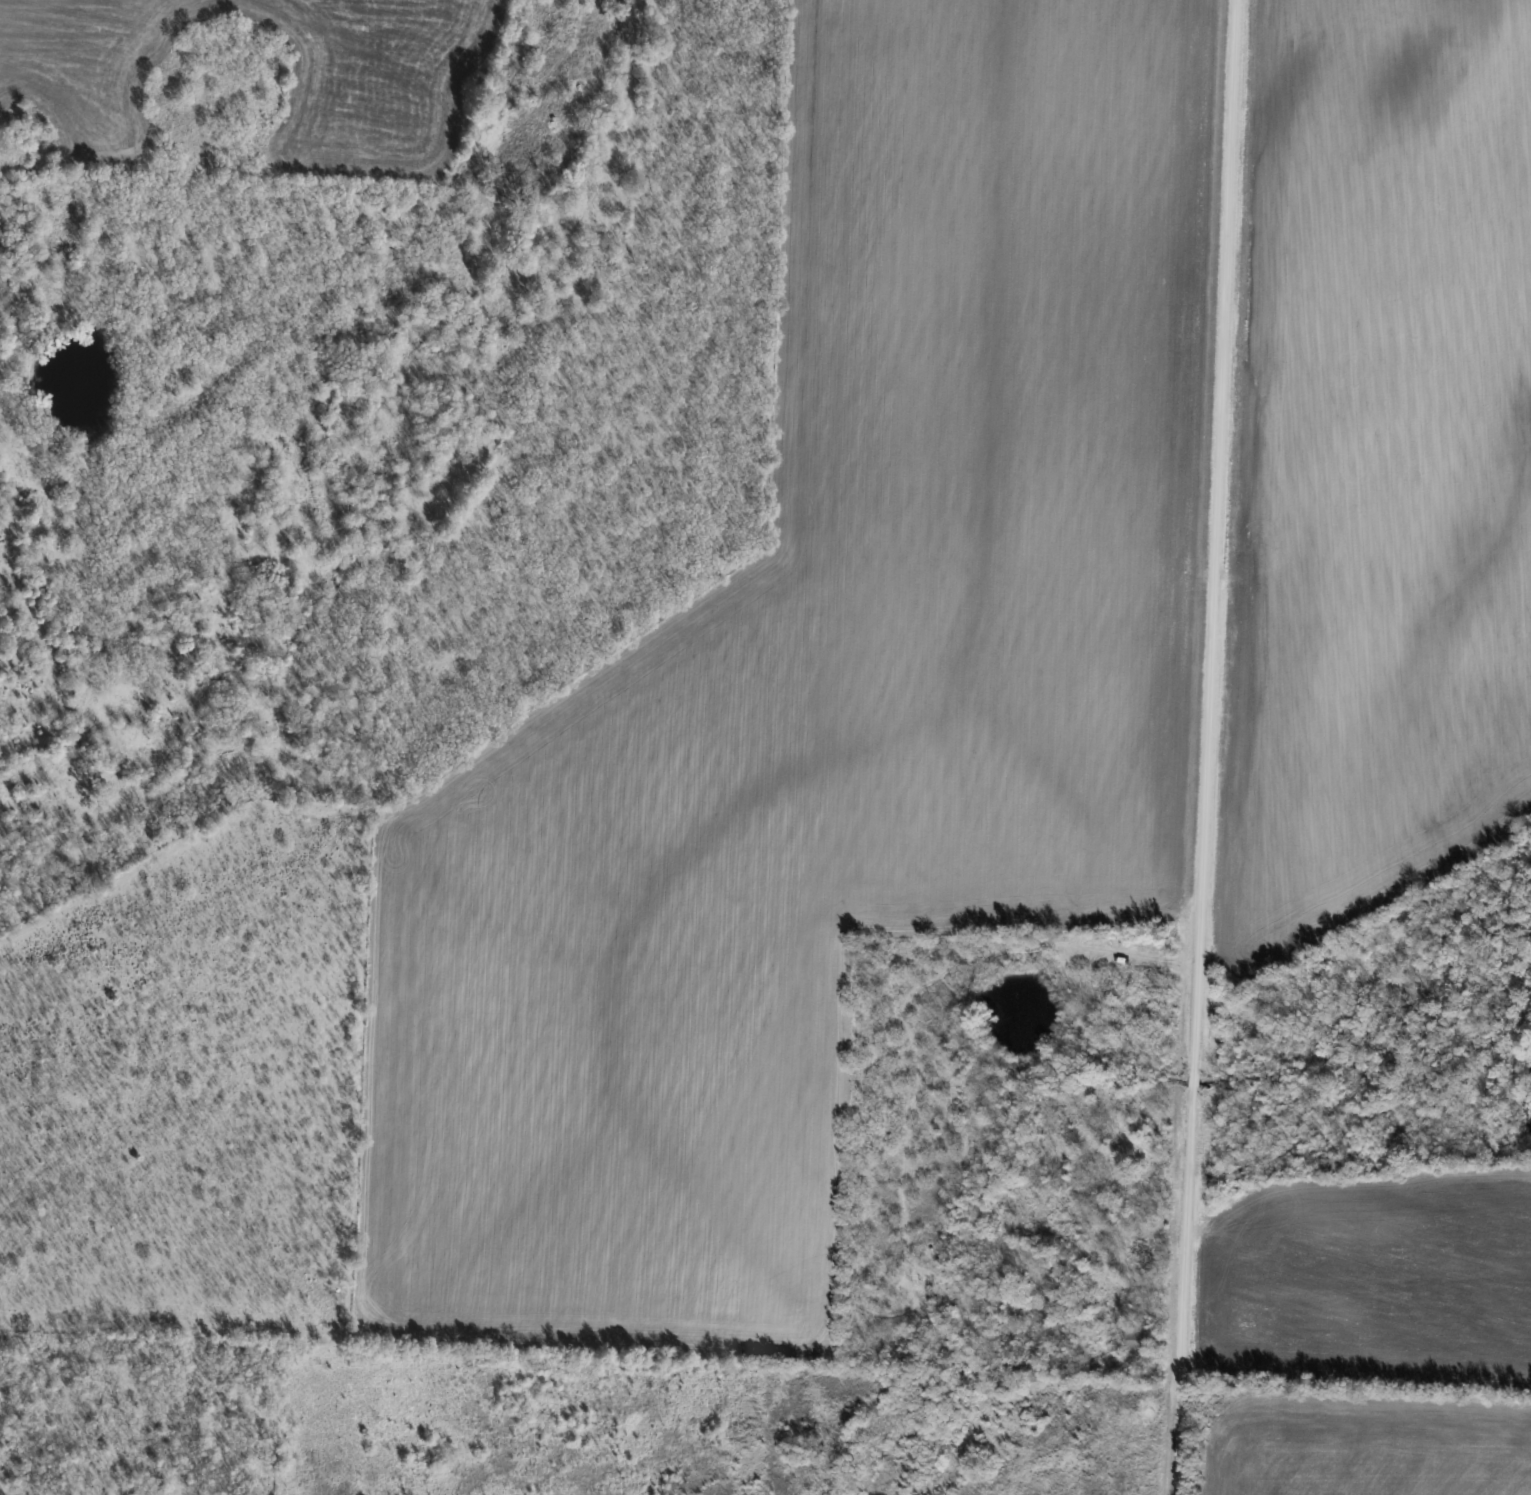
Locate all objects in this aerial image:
road: (1204, 747)
building: (1140, 1340)

